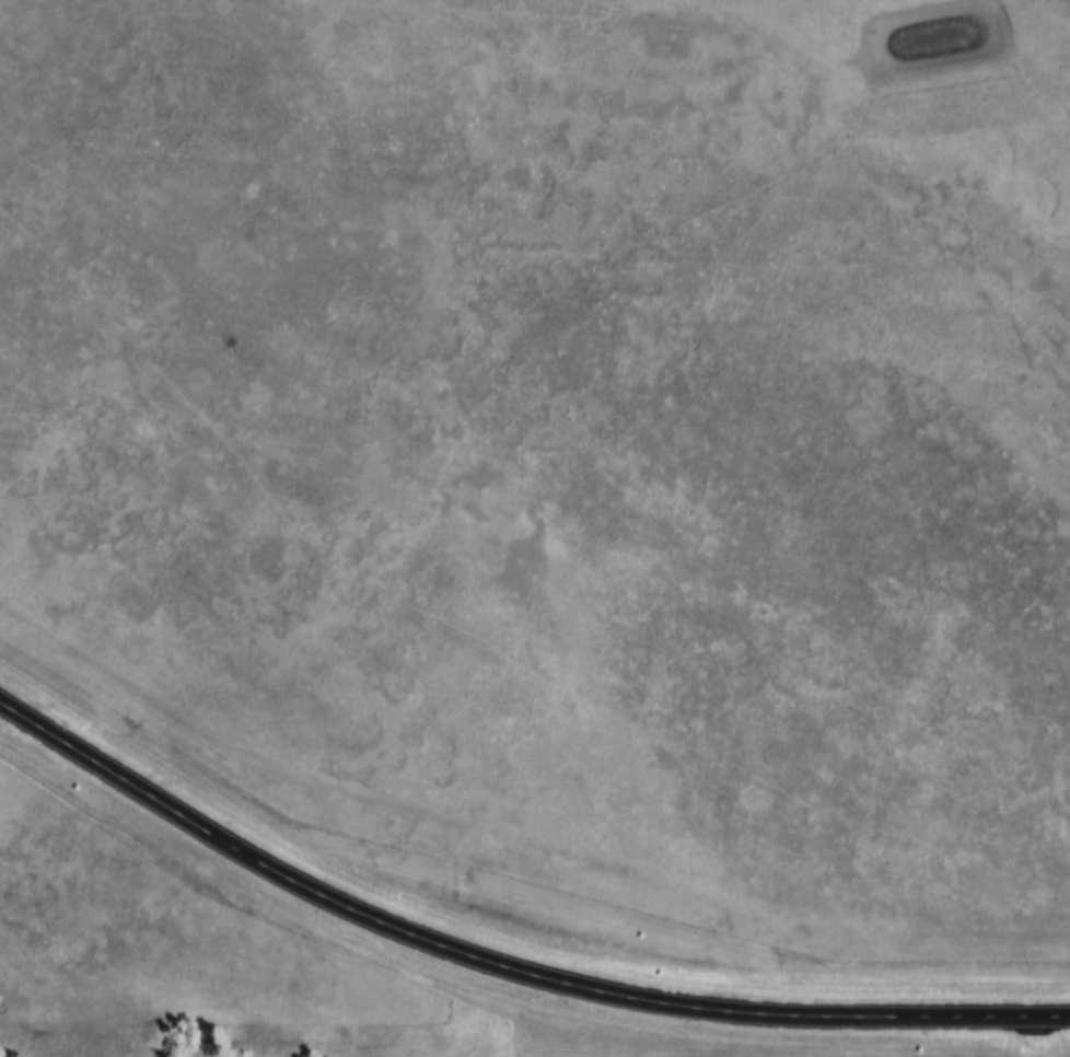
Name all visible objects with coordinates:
road: (502, 973)

